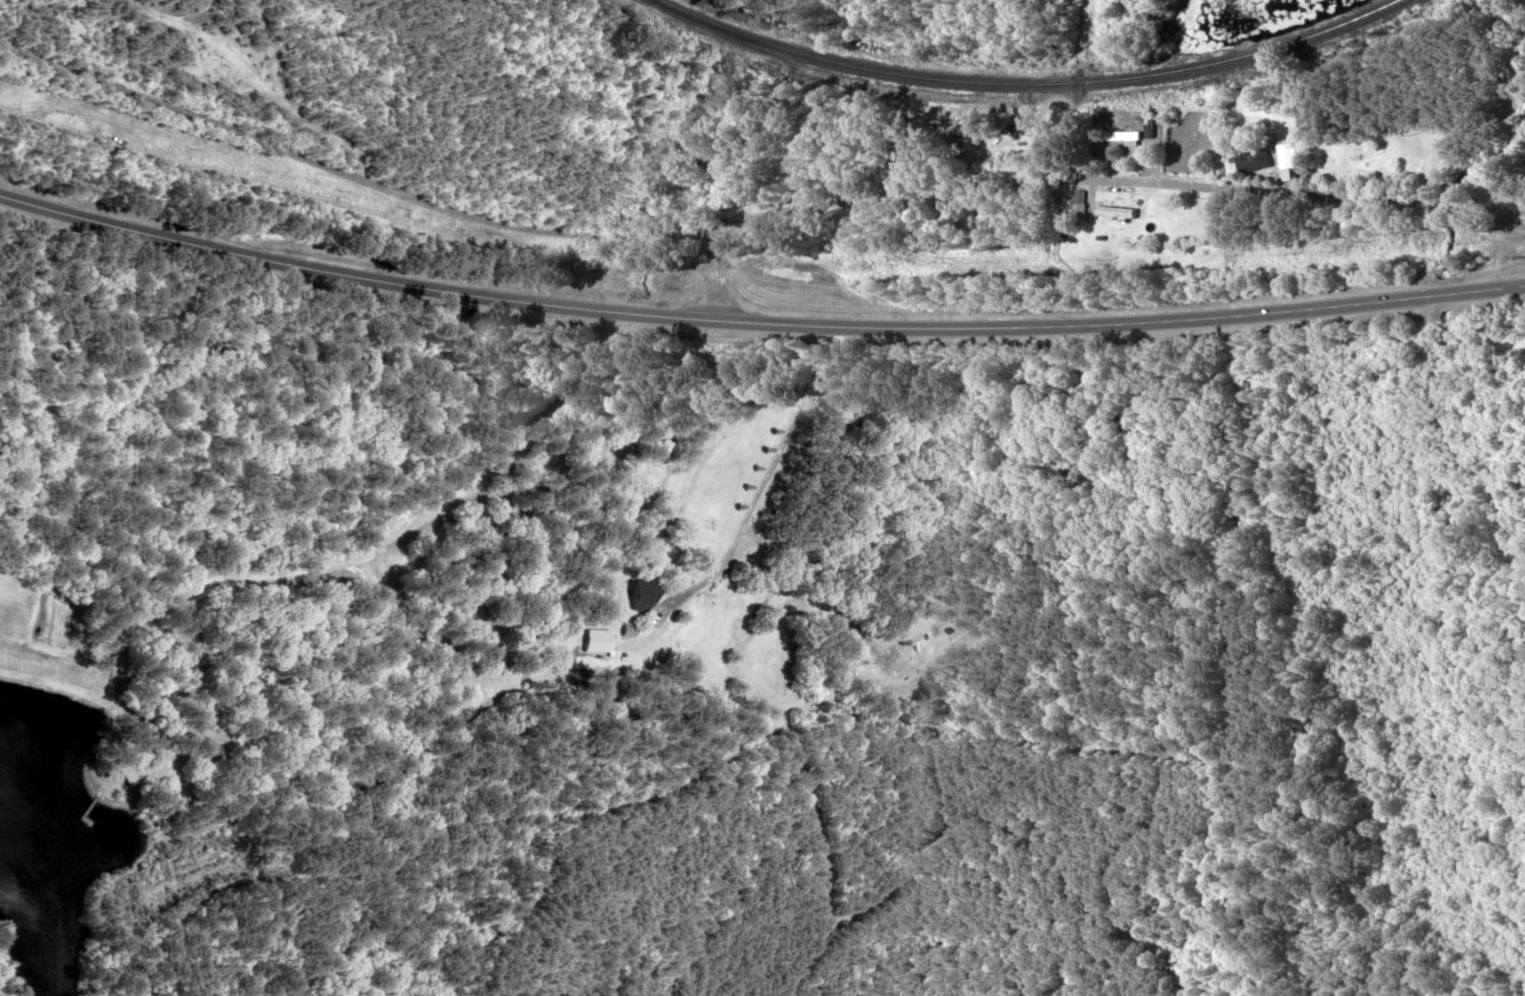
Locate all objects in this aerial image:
railway: (1028, 86)
building: (1147, 127)
building: (1121, 137)
building: (1244, 155)
building: (1364, 155)
building: (1285, 156)
building: (709, 163)
road: (741, 207)
building: (1076, 212)
building: (1116, 212)
building: (846, 233)
road: (722, 261)
road: (756, 317)
building: (635, 597)
building: (592, 640)
building: (920, 641)
building: (126, 771)

